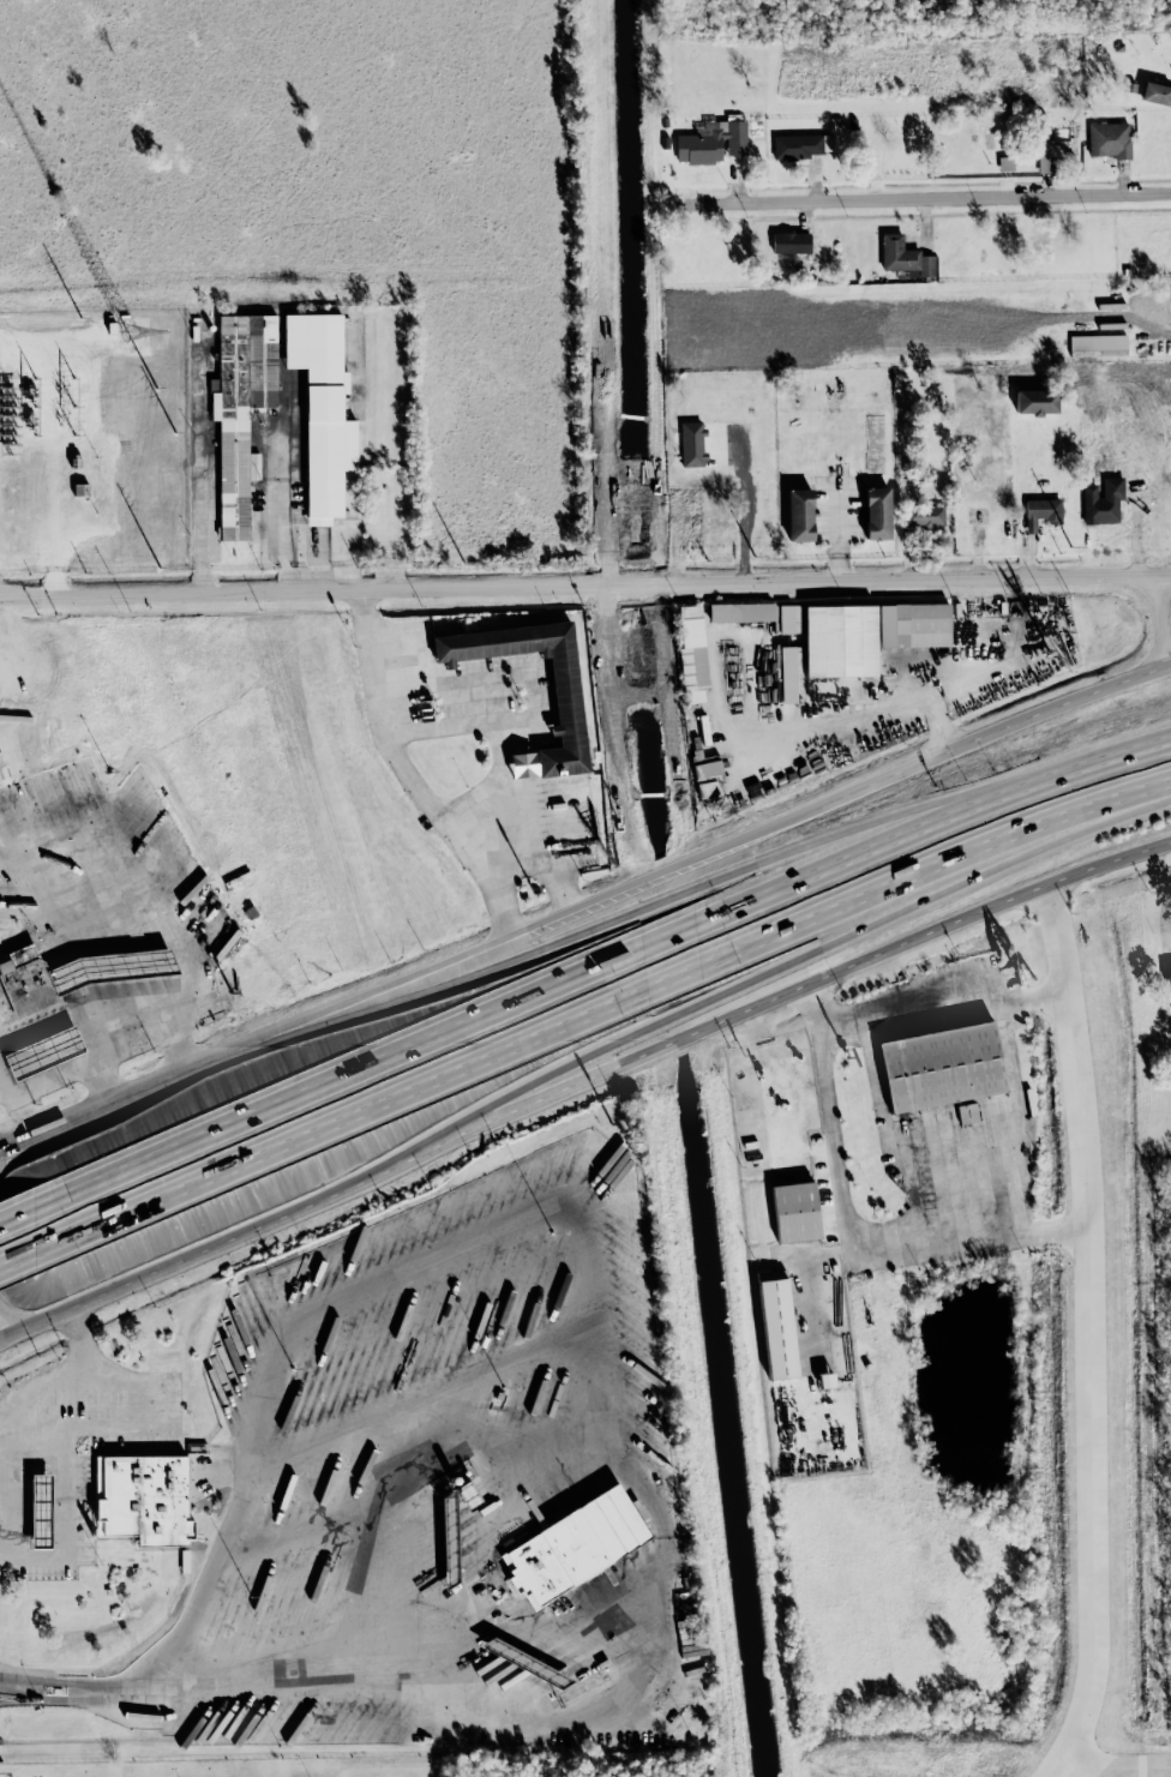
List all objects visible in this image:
building: (1155, 94)
building: (1109, 139)
building: (710, 142)
building: (798, 145)
building: (1004, 163)
building: (1045, 163)
road: (927, 197)
building: (789, 242)
building: (903, 256)
building: (1098, 344)
building: (1035, 401)
building: (241, 408)
building: (324, 415)
power substation: (92, 439)
road: (53, 440)
building: (691, 443)
road: (199, 463)
building: (1101, 500)
road: (752, 509)
road: (283, 511)
building: (1040, 511)
building: (877, 512)
building: (799, 514)
building: (924, 516)
road: (1135, 529)
road: (584, 584)
building: (757, 614)
building: (924, 620)
road: (1159, 625)
building: (691, 653)
building: (788, 666)
building: (565, 697)
road: (887, 703)
road: (1058, 704)
road: (937, 720)
road: (1152, 743)
building: (707, 768)
building: (2, 769)
road: (406, 772)
road: (866, 785)
road: (529, 811)
road: (757, 832)
road: (1161, 891)
road: (674, 900)
road: (128, 938)
road: (473, 948)
building: (1164, 965)
building: (109, 966)
gas station: (109, 966)
road: (580, 972)
building: (25, 980)
road: (732, 987)
road: (1031, 996)
road: (903, 1004)
road: (600, 1013)
road: (77, 1020)
road: (176, 1047)
building: (43, 1051)
gas station: (43, 1051)
building: (942, 1068)
road: (164, 1077)
road: (581, 1080)
building: (966, 1113)
road: (62, 1122)
road: (6, 1143)
road: (6, 1147)
road: (6, 1151)
building: (795, 1213)
road: (17, 1214)
road: (959, 1226)
road: (1045, 1231)
road: (590, 1248)
road: (16, 1254)
road: (10, 1321)
building: (776, 1325)
road: (1087, 1382)
road: (428, 1393)
road: (16, 1417)
road: (31, 1466)
road: (8, 1487)
building: (140, 1501)
building: (40, 1511)
gas station: (40, 1511)
building: (448, 1542)
gas station: (448, 1542)
building: (574, 1544)
gas station: (574, 1544)
road: (30, 1551)
road: (208, 1577)
building: (524, 1662)
gas station: (524, 1662)
road: (451, 1698)
road: (1057, 1772)

